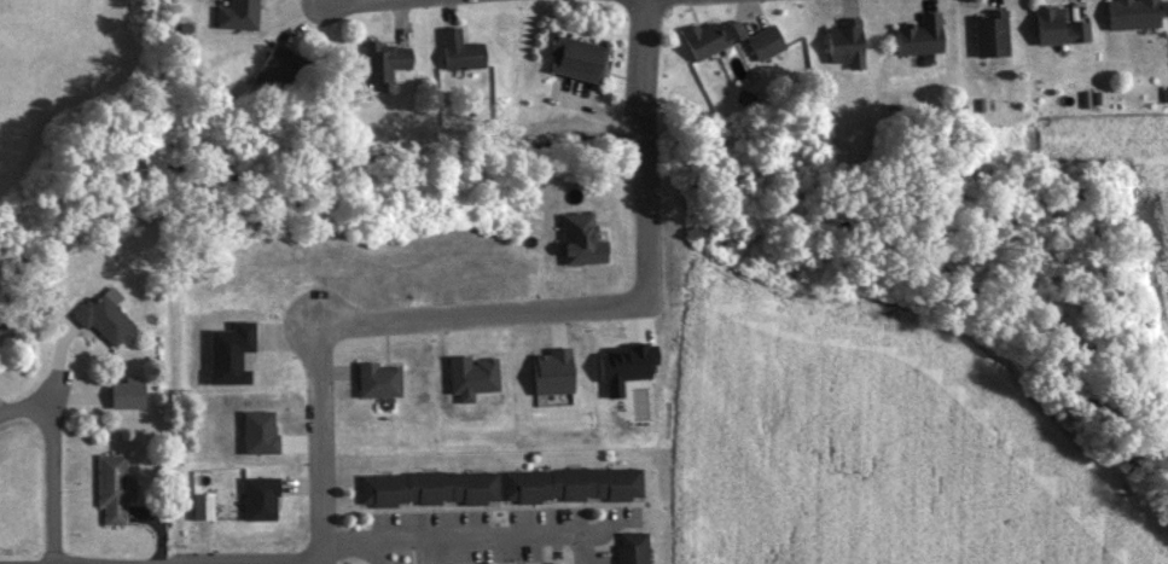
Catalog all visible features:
building: (238, 13)
building: (1134, 13)
building: (1059, 24)
building: (990, 31)
building: (920, 35)
building: (711, 36)
building: (767, 41)
building: (847, 41)
building: (461, 50)
building: (580, 57)
building: (387, 60)
building: (279, 68)
road: (643, 147)
road: (370, 316)
building: (105, 318)
building: (379, 378)
road: (51, 401)
road: (22, 413)
building: (573, 483)
building: (428, 485)
road: (53, 487)
building: (114, 488)
road: (470, 534)
building: (633, 547)
road: (322, 551)

